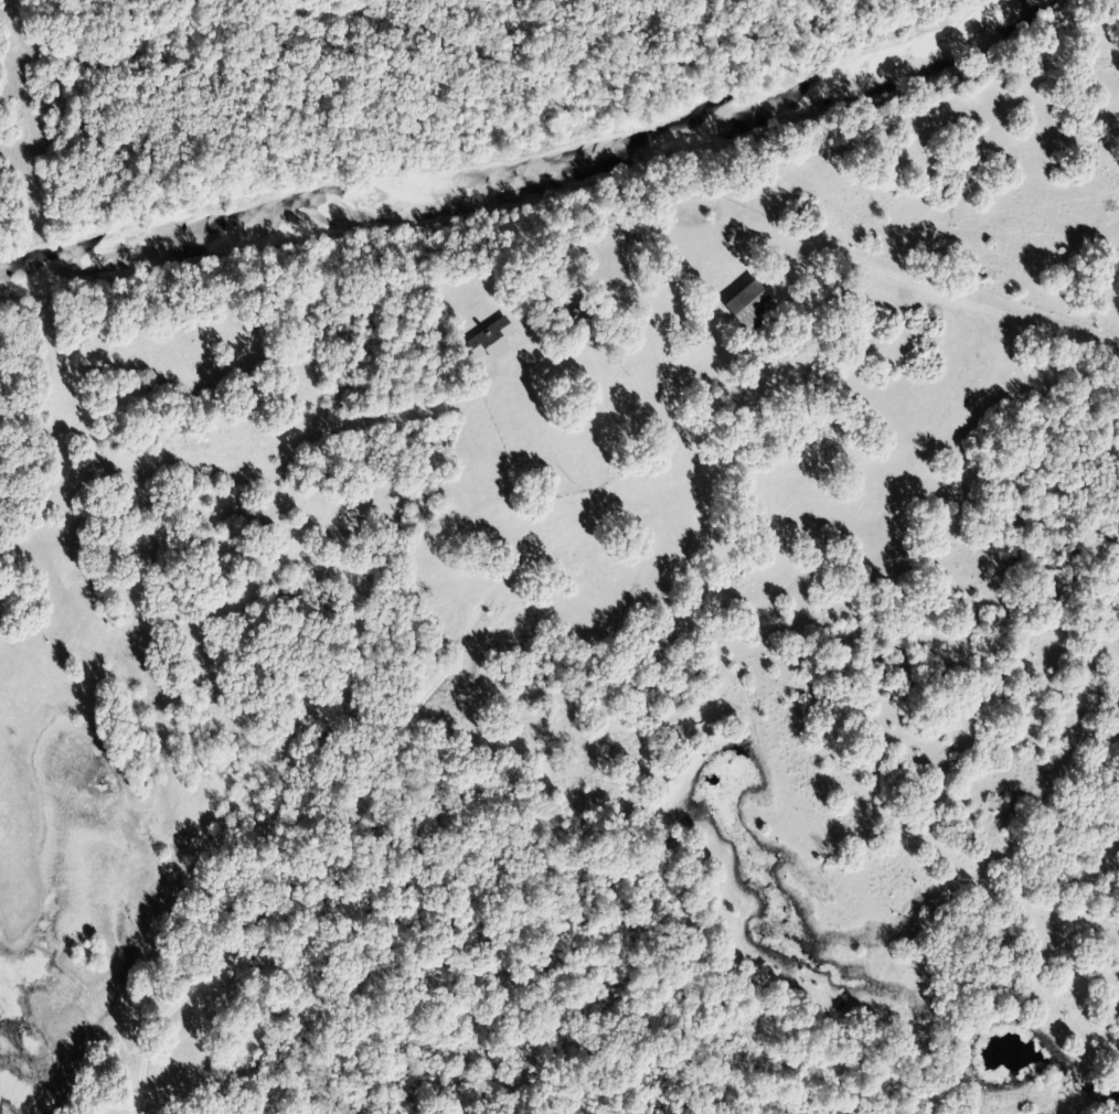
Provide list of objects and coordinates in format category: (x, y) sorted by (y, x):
road: (323, 4)
road: (471, 35)
road: (873, 264)
building: (750, 304)
building: (586, 325)
building: (491, 339)

